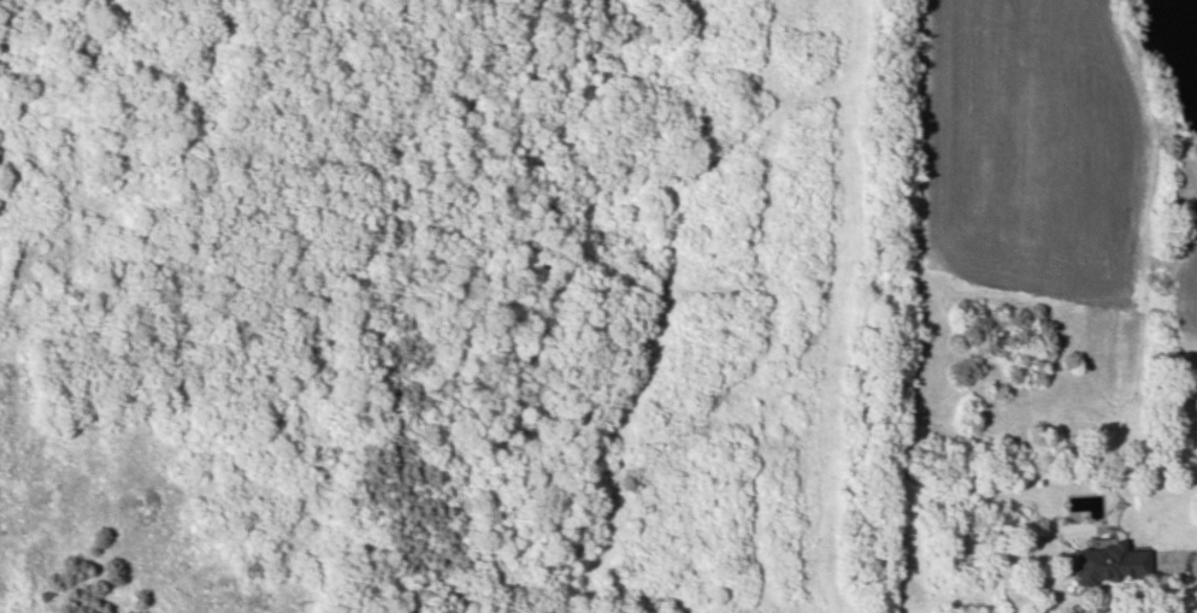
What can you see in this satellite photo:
crop: (1036, 146)
crop: (1191, 284)
park: (448, 306)
road: (1174, 589)

